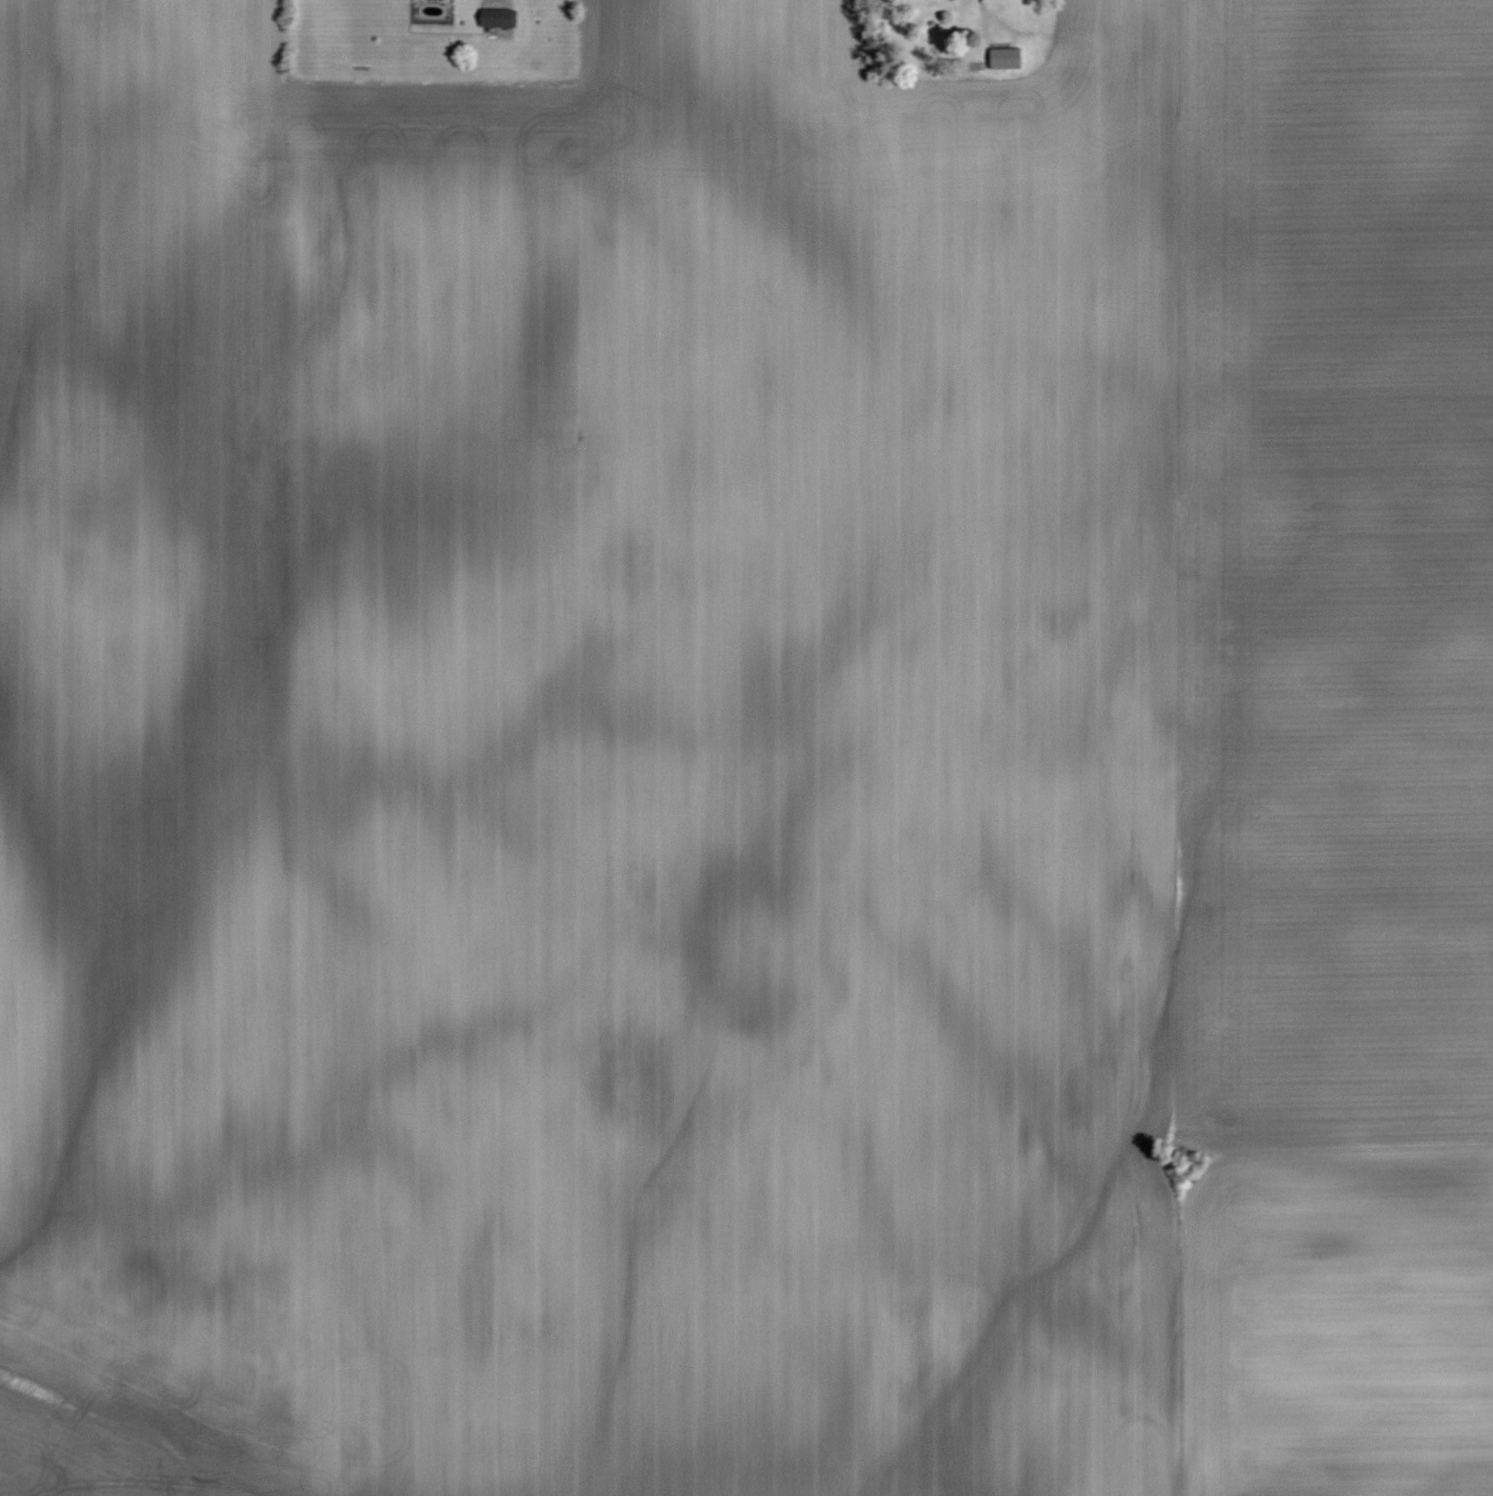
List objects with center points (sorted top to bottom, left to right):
building: (499, 17)
building: (1008, 57)

